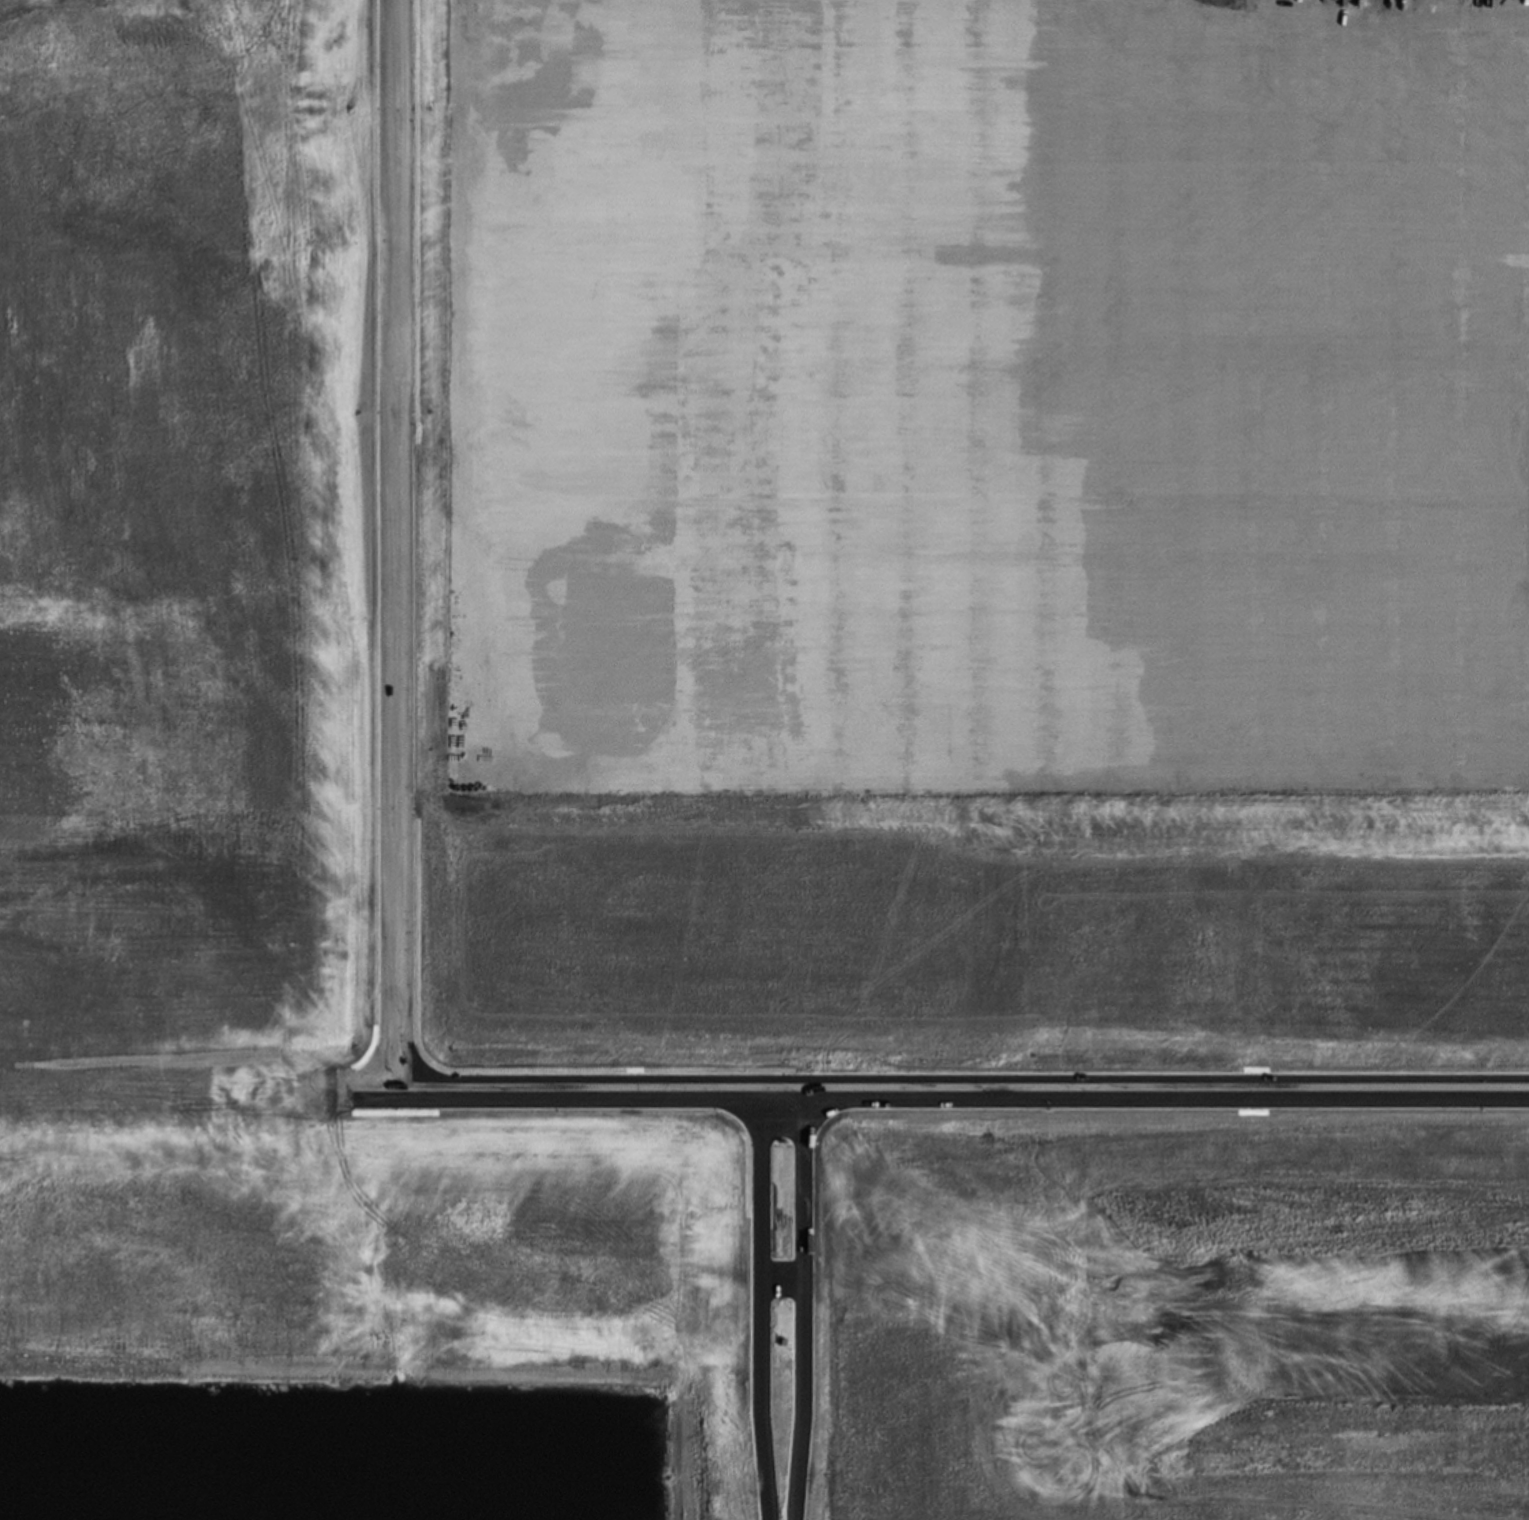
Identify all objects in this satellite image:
road: (396, 547)
road: (936, 1092)
road: (781, 1281)
road: (802, 1306)
road: (760, 1307)

